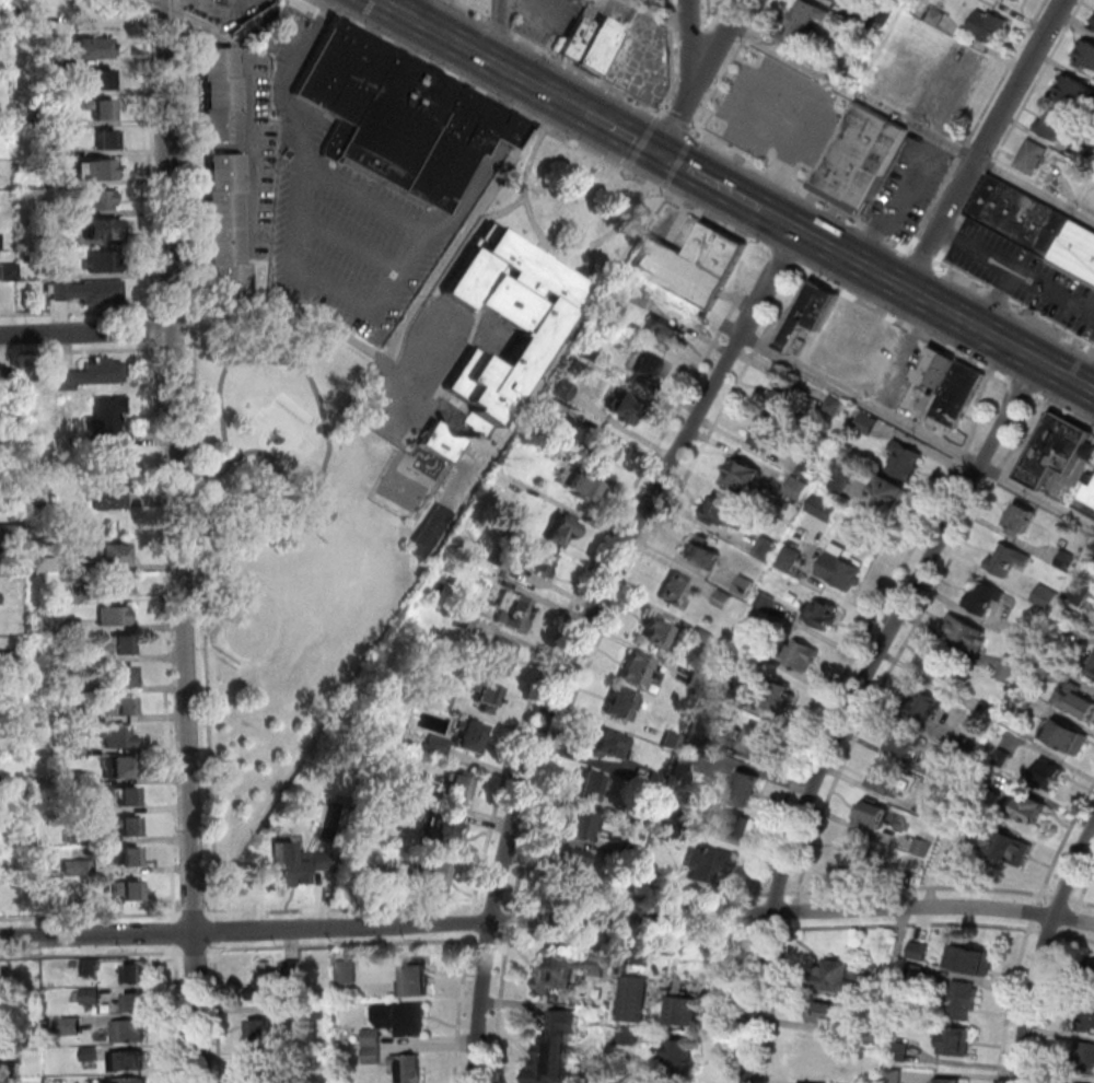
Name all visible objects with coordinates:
building: (897, 0)
building: (1016, 0)
building: (840, 1)
road: (246, 5)
road: (670, 7)
road: (709, 10)
road: (421, 12)
building: (884, 12)
road: (661, 13)
road: (713, 15)
building: (938, 16)
road: (672, 20)
building: (804, 21)
building: (1093, 21)
building: (256, 25)
building: (988, 25)
road: (741, 30)
building: (3, 32)
road: (497, 32)
road: (760, 33)
road: (691, 37)
road: (449, 39)
building: (590, 43)
building: (90, 47)
road: (694, 53)
building: (1085, 54)
building: (48, 57)
road: (560, 57)
road: (672, 58)
road: (422, 59)
road: (731, 68)
road: (702, 77)
building: (100, 78)
road: (287, 81)
road: (526, 82)
road: (542, 90)
building: (1075, 92)
building: (221, 94)
road: (862, 95)
road: (670, 96)
road: (523, 98)
road: (569, 105)
building: (101, 107)
parking lot: (781, 113)
building: (49, 115)
building: (401, 116)
road: (756, 118)
road: (678, 121)
building: (1054, 124)
road: (978, 125)
road: (509, 127)
road: (1010, 132)
road: (801, 133)
road: (621, 135)
building: (107, 140)
road: (982, 143)
road: (641, 144)
building: (53, 149)
traffic signals: (660, 154)
building: (862, 155)
road: (185, 156)
building: (1034, 156)
building: (1086, 156)
parking lot: (257, 158)
road: (151, 159)
road: (676, 163)
building: (95, 168)
road: (709, 182)
road: (651, 185)
road: (1035, 188)
road: (801, 190)
building: (100, 200)
building: (70, 212)
road: (494, 216)
parking lot: (342, 222)
building: (1037, 224)
building: (102, 229)
road: (418, 229)
building: (226, 231)
road: (450, 231)
road: (434, 235)
building: (54, 241)
building: (0, 242)
road: (550, 244)
road: (349, 246)
road: (783, 257)
road: (922, 258)
building: (103, 261)
building: (694, 263)
road: (620, 264)
road: (1005, 266)
building: (10, 272)
building: (59, 275)
parking lot: (1025, 277)
building: (60, 290)
road: (1054, 291)
building: (98, 292)
road: (333, 294)
building: (636, 295)
road: (927, 301)
road: (792, 307)
road: (1012, 307)
road: (78, 312)
building: (813, 315)
road: (298, 317)
building: (505, 321)
building: (600, 321)
road: (900, 321)
road: (407, 322)
road: (156, 325)
building: (665, 331)
road: (86, 333)
road: (437, 338)
road: (763, 343)
road: (175, 348)
road: (190, 348)
building: (590, 348)
road: (81, 350)
road: (258, 359)
building: (653, 368)
parking lot: (423, 369)
building: (102, 372)
building: (8, 376)
building: (68, 381)
building: (952, 384)
road: (1020, 384)
building: (566, 391)
building: (787, 403)
road: (869, 404)
building: (629, 406)
building: (835, 406)
building: (554, 407)
road: (977, 409)
road: (1063, 409)
building: (107, 415)
building: (868, 422)
park: (264, 423)
building: (771, 430)
building: (110, 440)
building: (441, 442)
building: (7, 445)
building: (1057, 450)
building: (603, 453)
road: (964, 455)
building: (906, 461)
building: (810, 471)
building: (744, 476)
building: (505, 479)
building: (839, 480)
building: (112, 486)
building: (585, 488)
building: (799, 488)
park: (403, 490)
building: (1091, 494)
building: (893, 496)
road: (293, 498)
building: (7, 505)
building: (825, 508)
building: (721, 510)
building: (1023, 516)
building: (875, 523)
building: (566, 528)
building: (429, 533)
building: (11, 534)
road: (182, 540)
building: (766, 547)
building: (1093, 551)
building: (705, 552)
building: (110, 555)
building: (497, 557)
building: (791, 558)
building: (1009, 559)
building: (538, 560)
building: (1069, 560)
building: (67, 563)
road: (593, 569)
building: (841, 569)
building: (117, 584)
building: (745, 585)
building: (678, 591)
building: (1081, 592)
building: (73, 594)
building: (1047, 596)
building: (0, 598)
building: (985, 598)
building: (724, 599)
building: (767, 601)
building: (35, 610)
building: (515, 612)
building: (822, 614)
building: (114, 616)
road: (203, 617)
road: (610, 621)
building: (49, 624)
building: (466, 624)
park: (269, 626)
building: (967, 632)
building: (659, 633)
building: (1031, 633)
road: (581, 637)
building: (703, 637)
building: (749, 641)
road: (904, 641)
building: (119, 645)
building: (799, 654)
building: (502, 656)
building: (9, 657)
building: (1093, 663)
building: (1010, 668)
building: (946, 669)
building: (640, 671)
building: (1092, 671)
building: (123, 676)
road: (842, 676)
building: (698, 682)
building: (724, 688)
building: (78, 689)
building: (489, 696)
building: (779, 697)
building: (447, 699)
building: (1078, 701)
building: (622, 704)
building: (119, 706)
road: (846, 706)
building: (926, 706)
building: (985, 708)
building: (75, 717)
building: (699, 732)
building: (472, 735)
building: (1068, 736)
building: (118, 737)
building: (673, 741)
building: (760, 741)
building: (970, 741)
building: (906, 742)
building: (612, 744)
building: (439, 747)
building: (74, 749)
building: (693, 754)
building: (1003, 757)
building: (124, 768)
building: (1048, 775)
building: (77, 778)
building: (885, 780)
building: (950, 780)
building: (657, 781)
building: (592, 787)
building: (411, 789)
building: (462, 789)
building: (745, 789)
building: (127, 796)
building: (83, 807)
building: (1033, 808)
building: (935, 814)
building: (872, 815)
building: (644, 817)
building: (675, 818)
building: (731, 824)
building: (584, 826)
building: (957, 826)
building: (128, 827)
building: (444, 831)
building: (68, 836)
building: (663, 836)
building: (82, 838)
road: (1063, 842)
building: (923, 848)
building: (1008, 849)
building: (635, 853)
building: (129, 858)
building: (857, 858)
building: (296, 864)
building: (710, 864)
building: (573, 866)
building: (79, 867)
building: (629, 872)
building: (437, 878)
building: (391, 881)
building: (656, 882)
road: (917, 887)
building: (129, 890)
road: (635, 897)
building: (81, 904)
road: (497, 905)
road: (347, 908)
road: (1036, 909)
road: (196, 912)
road: (92, 915)
road: (513, 918)
road: (547, 920)
road: (473, 923)
road: (1072, 923)
road: (214, 932)
road: (1052, 933)
road: (1075, 938)
road: (175, 939)
road: (485, 942)
road: (345, 943)
road: (197, 951)
road: (1044, 951)
building: (920, 952)
road: (92, 953)
building: (638, 957)
building: (971, 960)
building: (74, 965)
building: (593, 967)
building: (91, 968)
building: (1090, 968)
building: (295, 970)
building: (348, 973)
building: (916, 974)
building: (137, 975)
building: (556, 976)
building: (845, 979)
building: (417, 982)
building: (267, 983)
building: (92, 997)
building: (636, 999)
building: (962, 1000)
road: (1050, 1003)
building: (132, 1005)
road: (462, 1006)
building: (686, 1012)
building: (826, 1012)
building: (2, 1013)
road: (177, 1013)
road: (217, 1013)
building: (319, 1013)
building: (1086, 1017)
building: (404, 1020)
building: (565, 1023)
building: (72, 1027)
building: (130, 1032)
building: (263, 1032)
building: (627, 1036)
building: (876, 1036)
building: (374, 1038)
building: (957, 1041)
building: (4, 1043)
building: (899, 1051)
building: (374, 1056)
building: (680, 1056)
building: (91, 1058)
building: (302, 1058)
building: (815, 1058)
building: (1084, 1058)
building: (128, 1061)
building: (554, 1062)
building: (409, 1069)
building: (12, 1070)
building: (265, 1070)
building: (895, 1076)
building: (93, 1081)
building: (127, 1081)
building: (624, 1081)
building: (950, 1081)
building: (1080, 1082)

